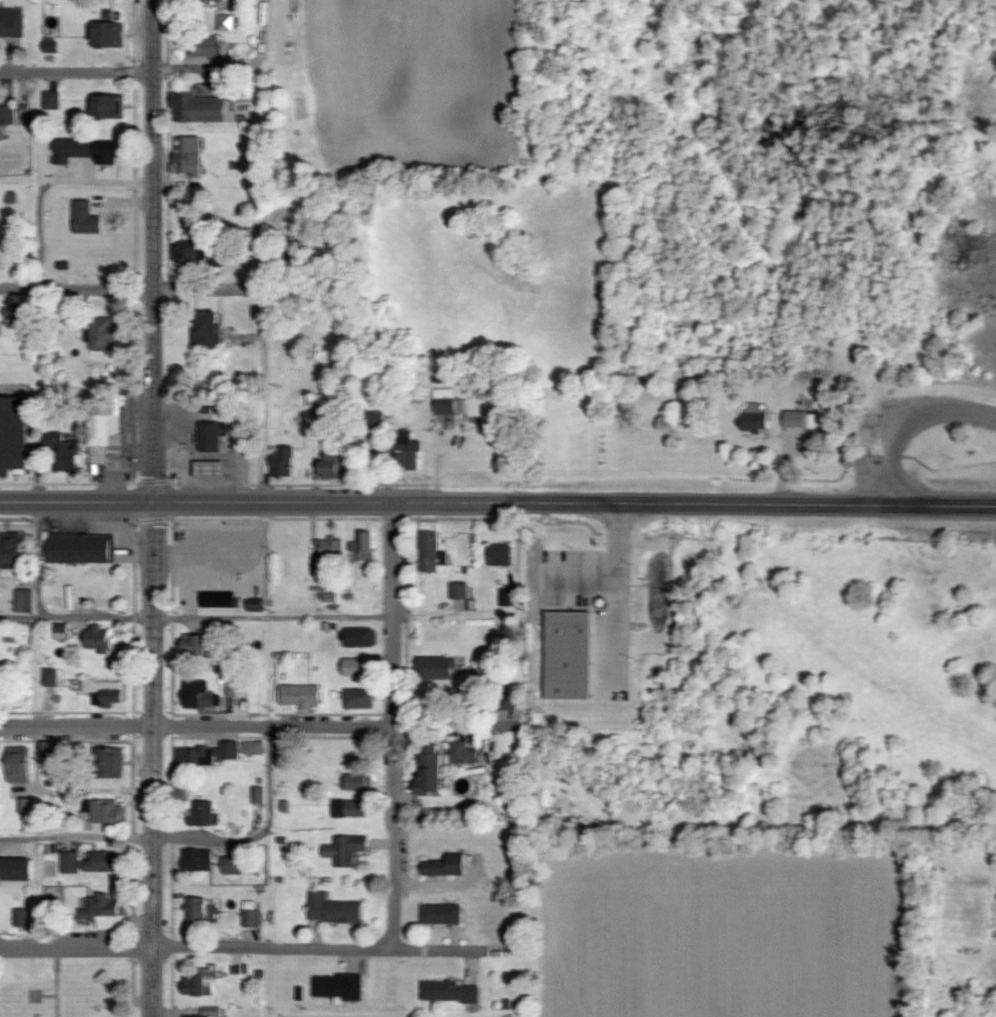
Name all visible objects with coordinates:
building: (214, 0)
building: (12, 22)
building: (228, 23)
building: (109, 35)
building: (206, 46)
road: (234, 65)
road: (74, 72)
building: (53, 101)
building: (109, 106)
building: (203, 109)
building: (7, 116)
building: (73, 150)
building: (107, 153)
building: (188, 155)
road: (45, 184)
building: (86, 218)
road: (150, 251)
building: (191, 252)
road: (75, 288)
building: (19, 315)
building: (208, 333)
building: (102, 334)
road: (261, 344)
building: (450, 402)
building: (756, 418)
road: (907, 418)
building: (795, 420)
building: (105, 427)
building: (13, 435)
building: (409, 451)
building: (63, 453)
building: (284, 462)
building: (334, 463)
building: (211, 470)
road: (76, 501)
road: (405, 501)
road: (827, 503)
road: (618, 523)
building: (364, 546)
building: (331, 548)
building: (80, 549)
building: (12, 552)
building: (432, 553)
building: (501, 555)
building: (320, 568)
road: (580, 572)
building: (460, 591)
building: (25, 602)
building: (222, 604)
building: (256, 605)
parking lot: (593, 610)
road: (618, 613)
road: (195, 618)
building: (61, 634)
building: (361, 638)
building: (99, 640)
building: (199, 645)
building: (566, 646)
building: (356, 667)
building: (437, 668)
building: (50, 678)
building: (107, 692)
building: (201, 696)
building: (302, 697)
building: (359, 699)
road: (392, 725)
road: (262, 728)
building: (52, 751)
building: (220, 753)
building: (464, 754)
road: (152, 759)
building: (111, 764)
building: (19, 769)
building: (358, 782)
building: (259, 796)
building: (27, 806)
building: (350, 809)
building: (108, 813)
building: (204, 815)
road: (185, 838)
building: (347, 851)
building: (197, 862)
building: (71, 863)
building: (104, 863)
building: (235, 866)
building: (445, 866)
building: (17, 871)
building: (197, 909)
building: (333, 910)
building: (103, 914)
building: (442, 915)
building: (252, 916)
building: (23, 918)
road: (261, 948)
building: (201, 982)
building: (339, 987)
building: (450, 992)
building: (211, 1012)

